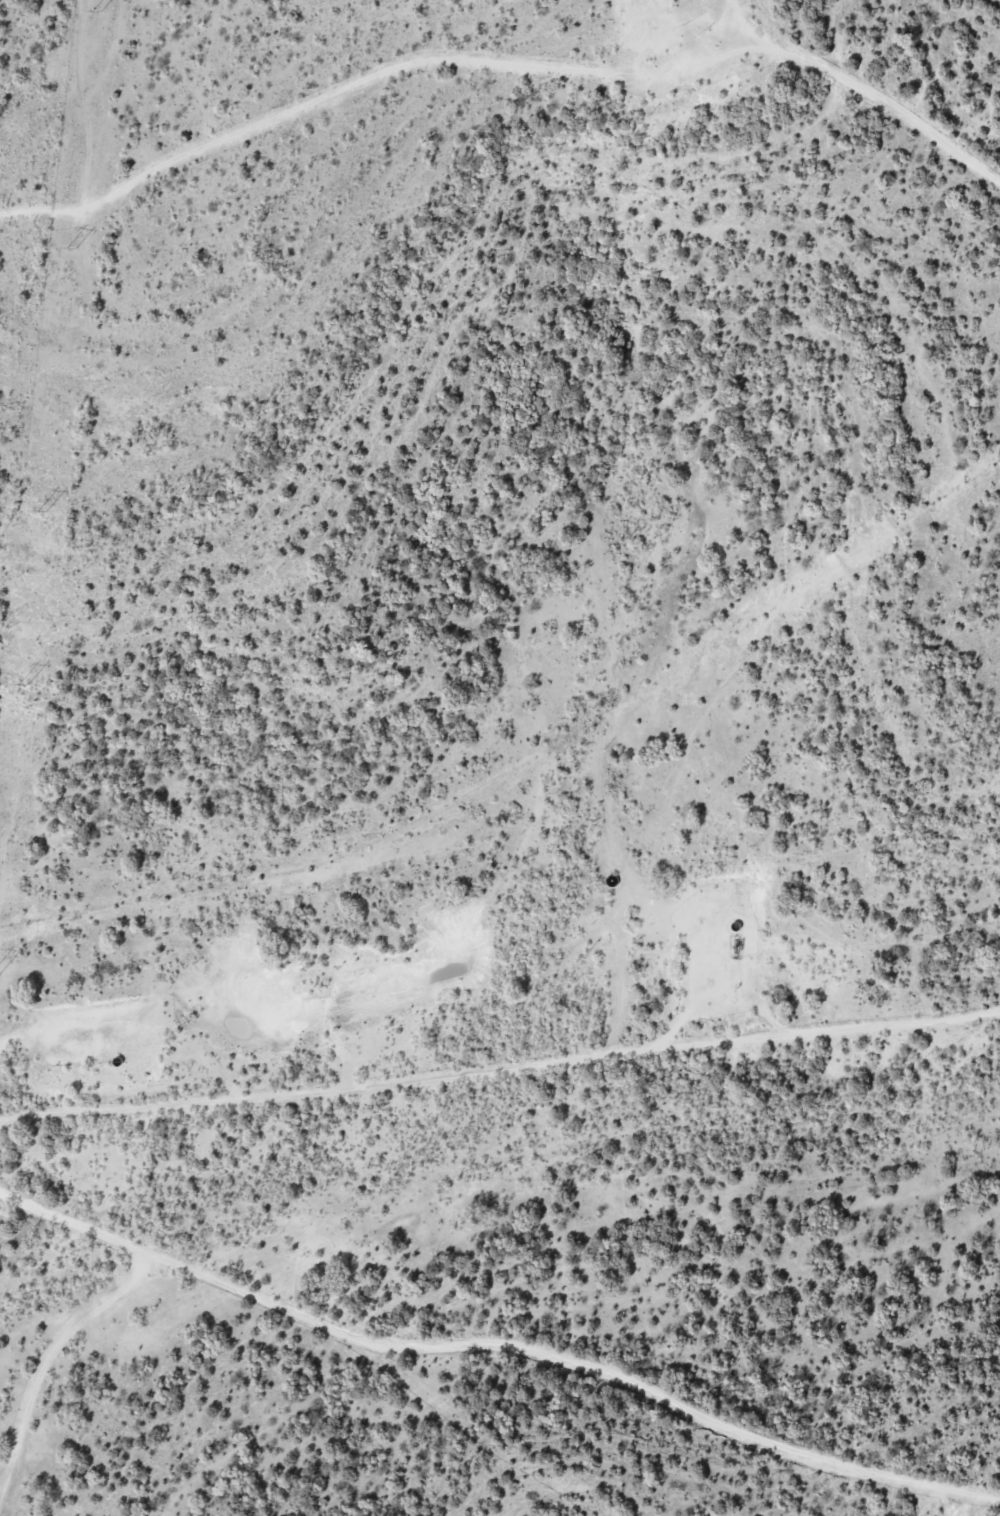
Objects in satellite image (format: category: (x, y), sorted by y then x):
power tower: (102, 10)
road: (911, 125)
power tower: (75, 247)
power tower: (47, 510)
power tower: (26, 685)
road: (502, 1024)
road: (501, 1323)

